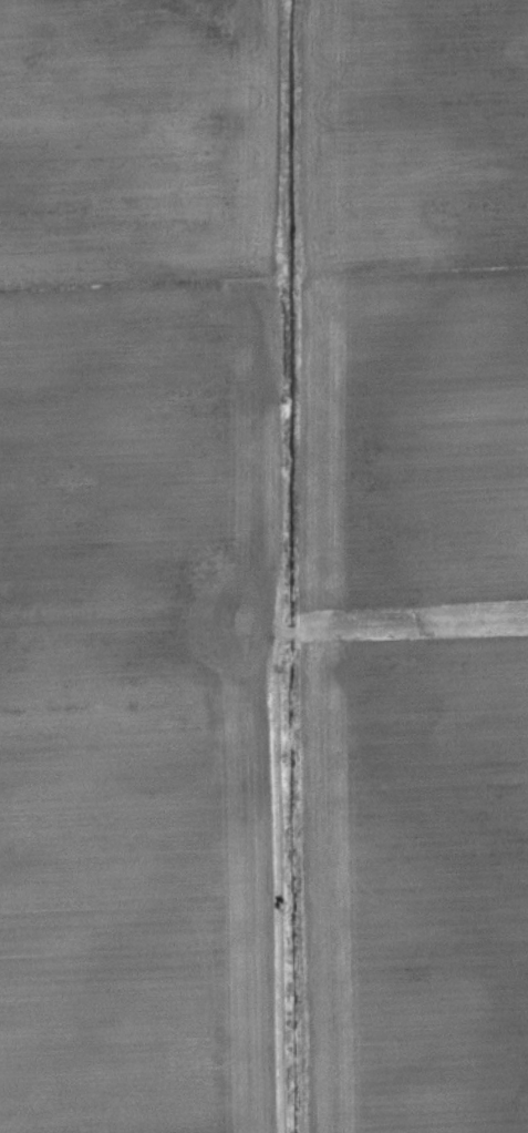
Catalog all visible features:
crop: (263, 566)

